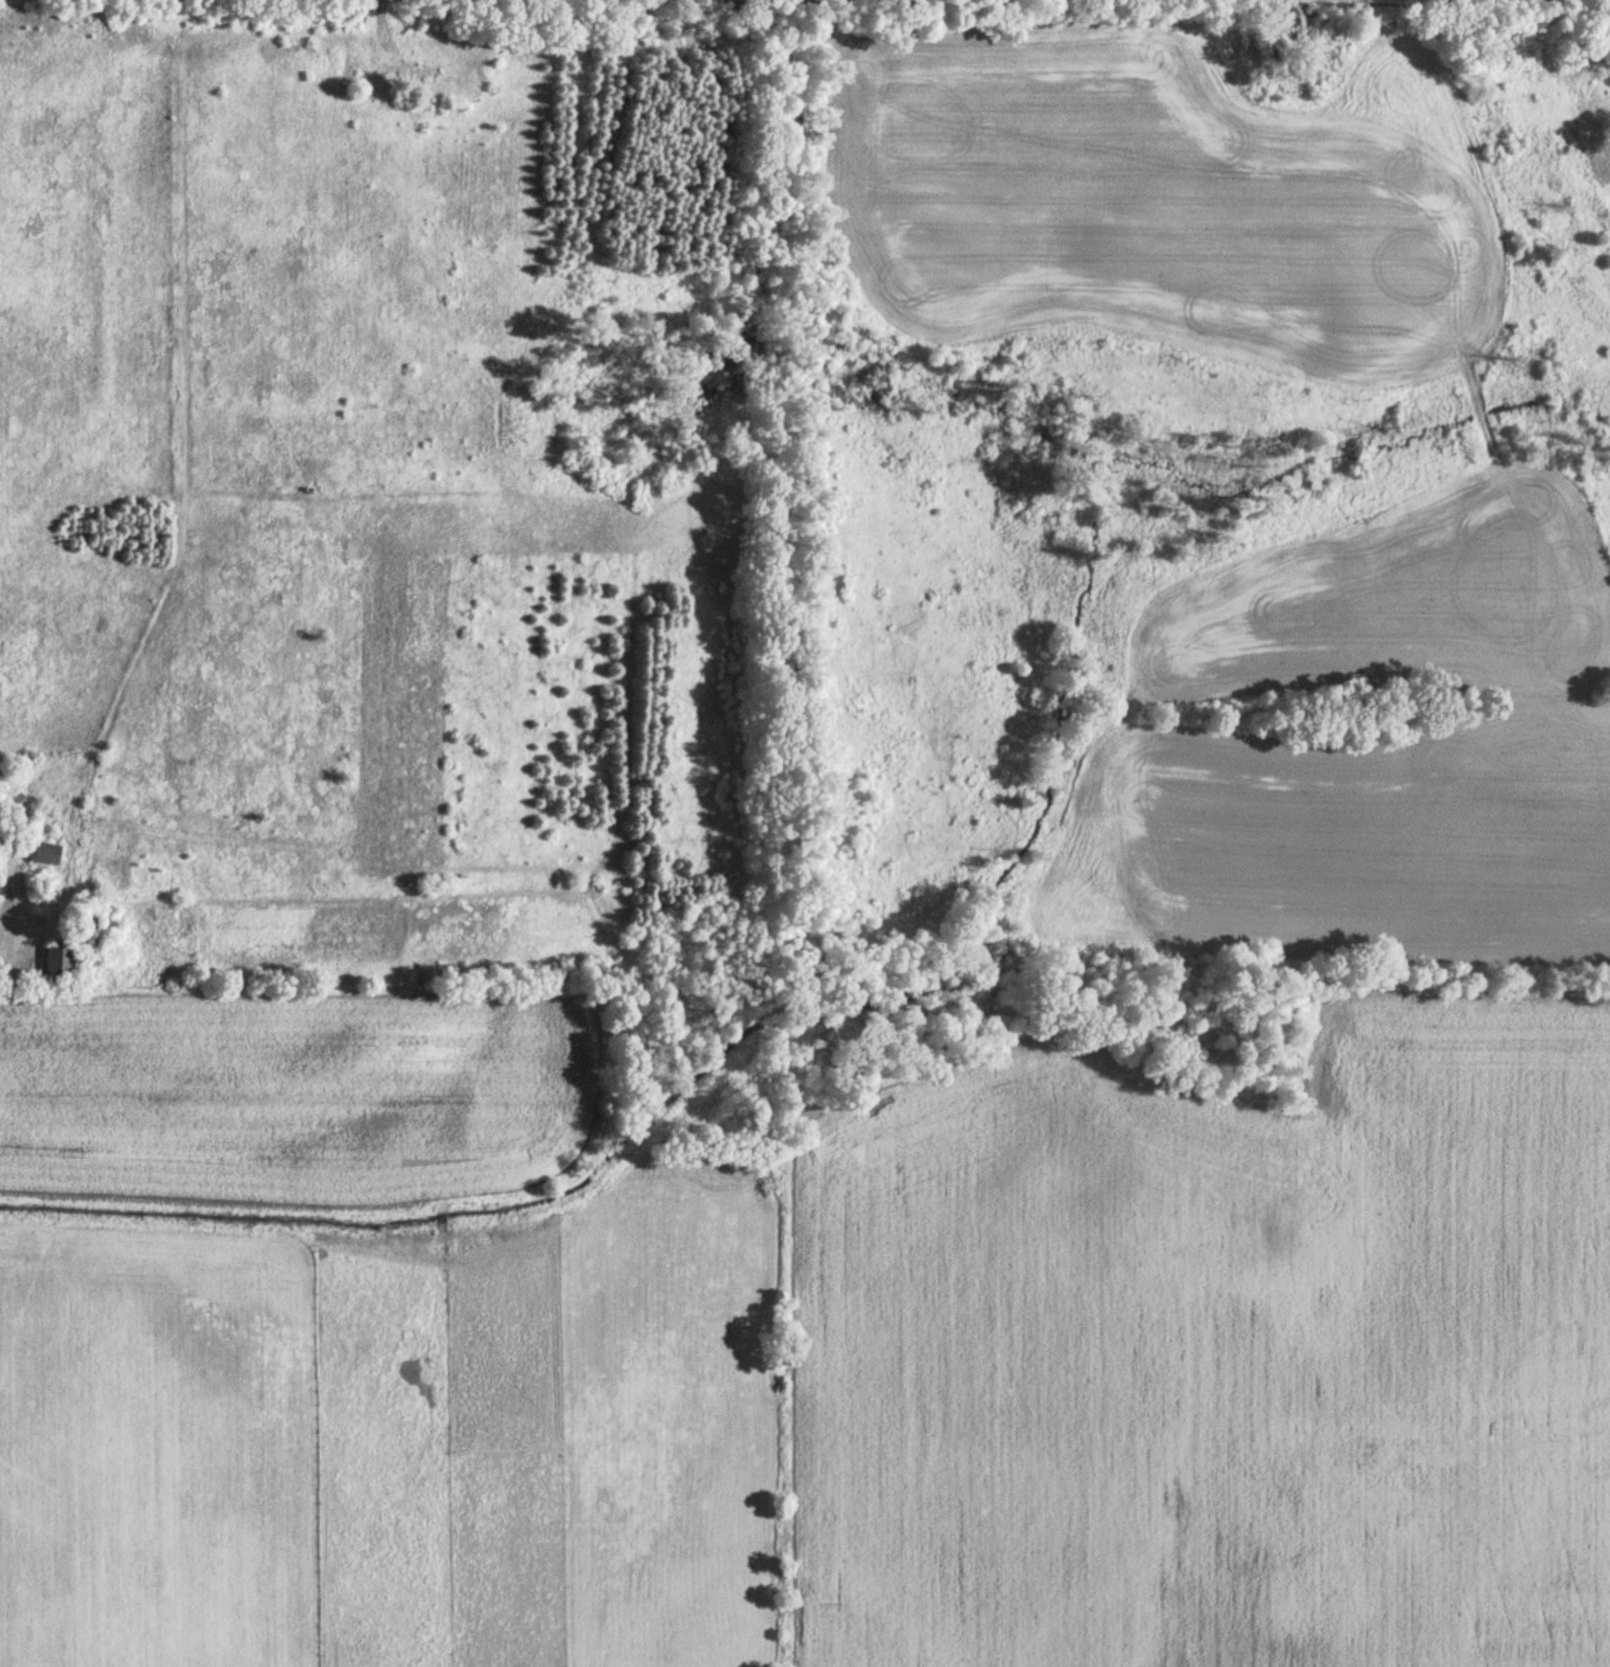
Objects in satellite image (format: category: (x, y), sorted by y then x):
building: (412, 74)
crop: (1367, 744)
building: (46, 854)
building: (83, 929)
building: (62, 966)
crop: (293, 1094)
crop: (619, 1430)

